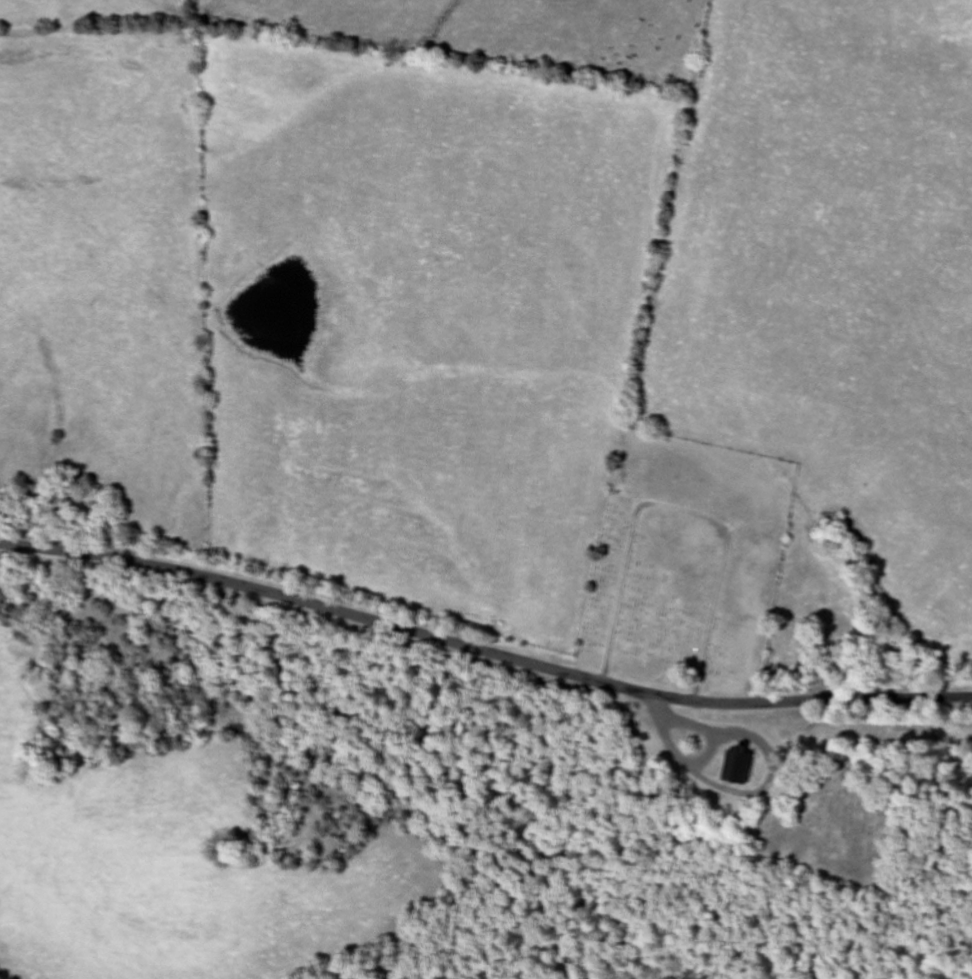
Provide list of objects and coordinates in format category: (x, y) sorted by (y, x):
park: (686, 560)
road: (481, 656)
building: (738, 765)
park: (838, 804)

